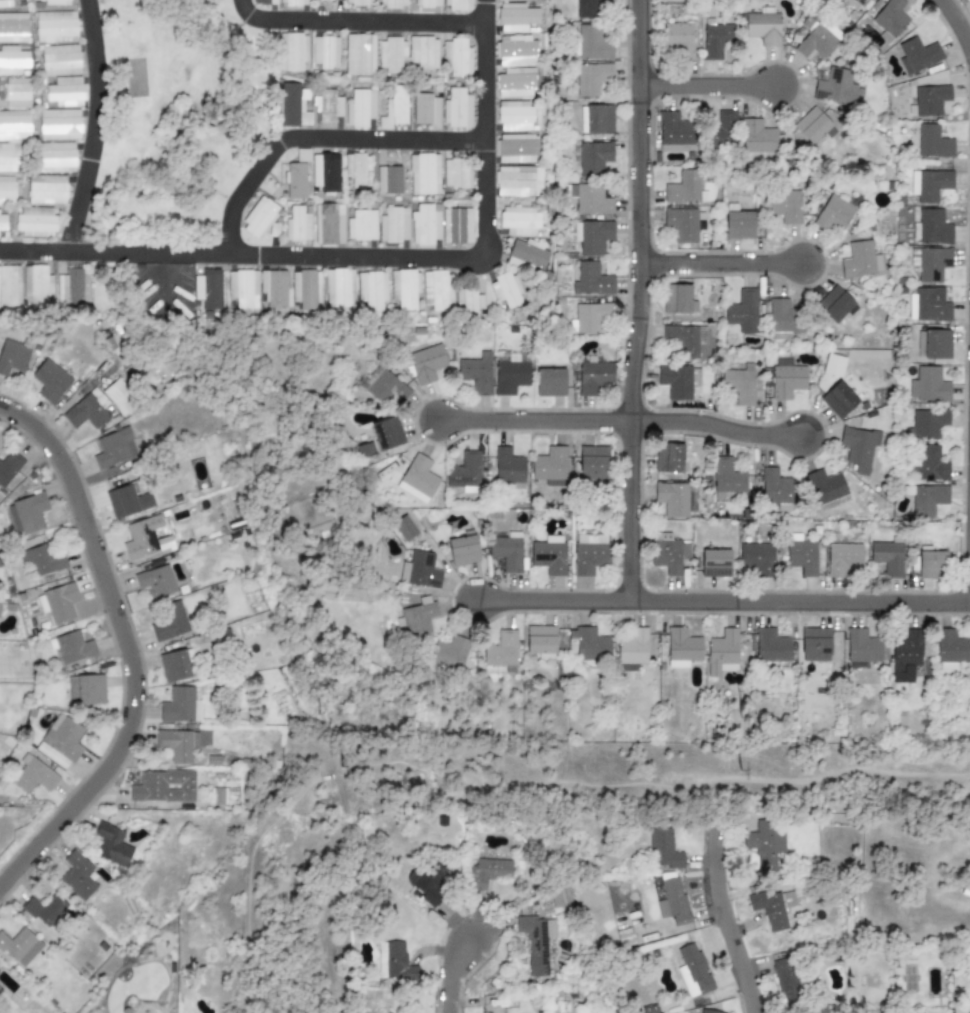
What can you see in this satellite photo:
building: (501, 0)
building: (673, 0)
building: (51, 1)
building: (264, 2)
building: (293, 2)
building: (359, 2)
building: (5, 3)
building: (428, 3)
building: (857, 3)
building: (392, 4)
building: (455, 4)
building: (588, 9)
building: (516, 17)
building: (891, 19)
road: (358, 21)
road: (957, 23)
building: (13, 27)
building: (56, 27)
building: (764, 27)
building: (678, 39)
building: (716, 39)
building: (817, 42)
building: (593, 43)
building: (324, 51)
building: (516, 51)
building: (292, 52)
building: (423, 52)
building: (390, 54)
building: (359, 55)
building: (917, 55)
building: (456, 57)
building: (60, 60)
building: (12, 61)
building: (592, 78)
building: (516, 83)
building: (837, 88)
building: (65, 91)
road: (715, 91)
building: (17, 93)
building: (930, 99)
building: (330, 106)
building: (360, 108)
building: (394, 108)
building: (457, 108)
building: (425, 109)
building: (515, 116)
building: (596, 119)
building: (287, 120)
building: (59, 124)
building: (14, 125)
building: (811, 125)
road: (95, 127)
building: (722, 130)
building: (674, 132)
road: (318, 139)
building: (757, 140)
building: (932, 142)
building: (515, 149)
building: (57, 156)
building: (594, 156)
building: (9, 158)
building: (357, 170)
building: (325, 171)
building: (456, 173)
building: (424, 174)
building: (388, 180)
building: (296, 181)
building: (518, 181)
building: (929, 185)
building: (684, 187)
building: (47, 189)
building: (6, 191)
building: (589, 198)
building: (784, 205)
building: (834, 213)
building: (259, 217)
building: (3, 220)
building: (36, 221)
building: (519, 221)
building: (298, 224)
building: (328, 224)
building: (425, 224)
building: (681, 224)
building: (361, 225)
building: (394, 225)
building: (739, 225)
building: (457, 226)
building: (931, 227)
building: (592, 236)
building: (527, 254)
road: (372, 257)
building: (860, 261)
building: (930, 263)
road: (730, 267)
building: (592, 280)
building: (36, 284)
building: (9, 286)
building: (208, 288)
building: (243, 288)
building: (273, 288)
building: (339, 288)
building: (72, 289)
building: (306, 289)
building: (505, 289)
building: (371, 290)
building: (404, 290)
building: (437, 290)
building: (677, 299)
road: (651, 302)
building: (467, 303)
building: (835, 305)
building: (928, 305)
building: (743, 312)
building: (785, 317)
building: (589, 318)
building: (685, 339)
building: (936, 344)
building: (12, 357)
building: (426, 363)
building: (833, 365)
building: (477, 373)
building: (511, 377)
building: (594, 377)
building: (786, 379)
building: (677, 381)
building: (50, 382)
building: (549, 382)
building: (739, 385)
building: (928, 385)
building: (383, 386)
building: (119, 397)
building: (838, 400)
building: (85, 413)
road: (549, 415)
road: (721, 415)
building: (926, 424)
building: (387, 433)
building: (114, 448)
building: (859, 448)
building: (365, 450)
building: (668, 458)
building: (593, 463)
building: (927, 464)
building: (508, 466)
building: (550, 466)
building: (9, 467)
building: (727, 477)
building: (418, 479)
building: (775, 486)
building: (825, 487)
building: (672, 499)
building: (928, 499)
building: (127, 502)
building: (27, 513)
building: (404, 528)
building: (141, 538)
building: (463, 550)
building: (507, 551)
building: (588, 553)
building: (666, 553)
building: (549, 555)
building: (887, 557)
building: (757, 558)
building: (843, 559)
building: (42, 560)
building: (715, 563)
building: (931, 564)
building: (420, 571)
building: (156, 582)
building: (60, 602)
road: (553, 605)
road: (801, 605)
building: (416, 619)
building: (2, 620)
building: (168, 622)
building: (540, 641)
building: (589, 643)
building: (815, 644)
building: (771, 646)
building: (862, 646)
building: (73, 648)
building: (682, 648)
road: (127, 649)
building: (501, 650)
building: (632, 650)
building: (951, 650)
building: (449, 653)
building: (722, 653)
building: (905, 657)
building: (175, 665)
building: (86, 690)
building: (181, 707)
building: (61, 741)
building: (178, 744)
building: (34, 775)
building: (164, 787)
building: (172, 787)
building: (765, 844)
building: (112, 845)
building: (664, 849)
building: (487, 872)
building: (77, 876)
building: (427, 881)
building: (560, 897)
building: (673, 902)
building: (44, 909)
building: (769, 910)
road: (731, 911)
building: (536, 942)
building: (20, 946)
building: (394, 963)
building: (693, 971)
road: (454, 973)
building: (784, 978)
building: (0, 991)
building: (708, 1011)

